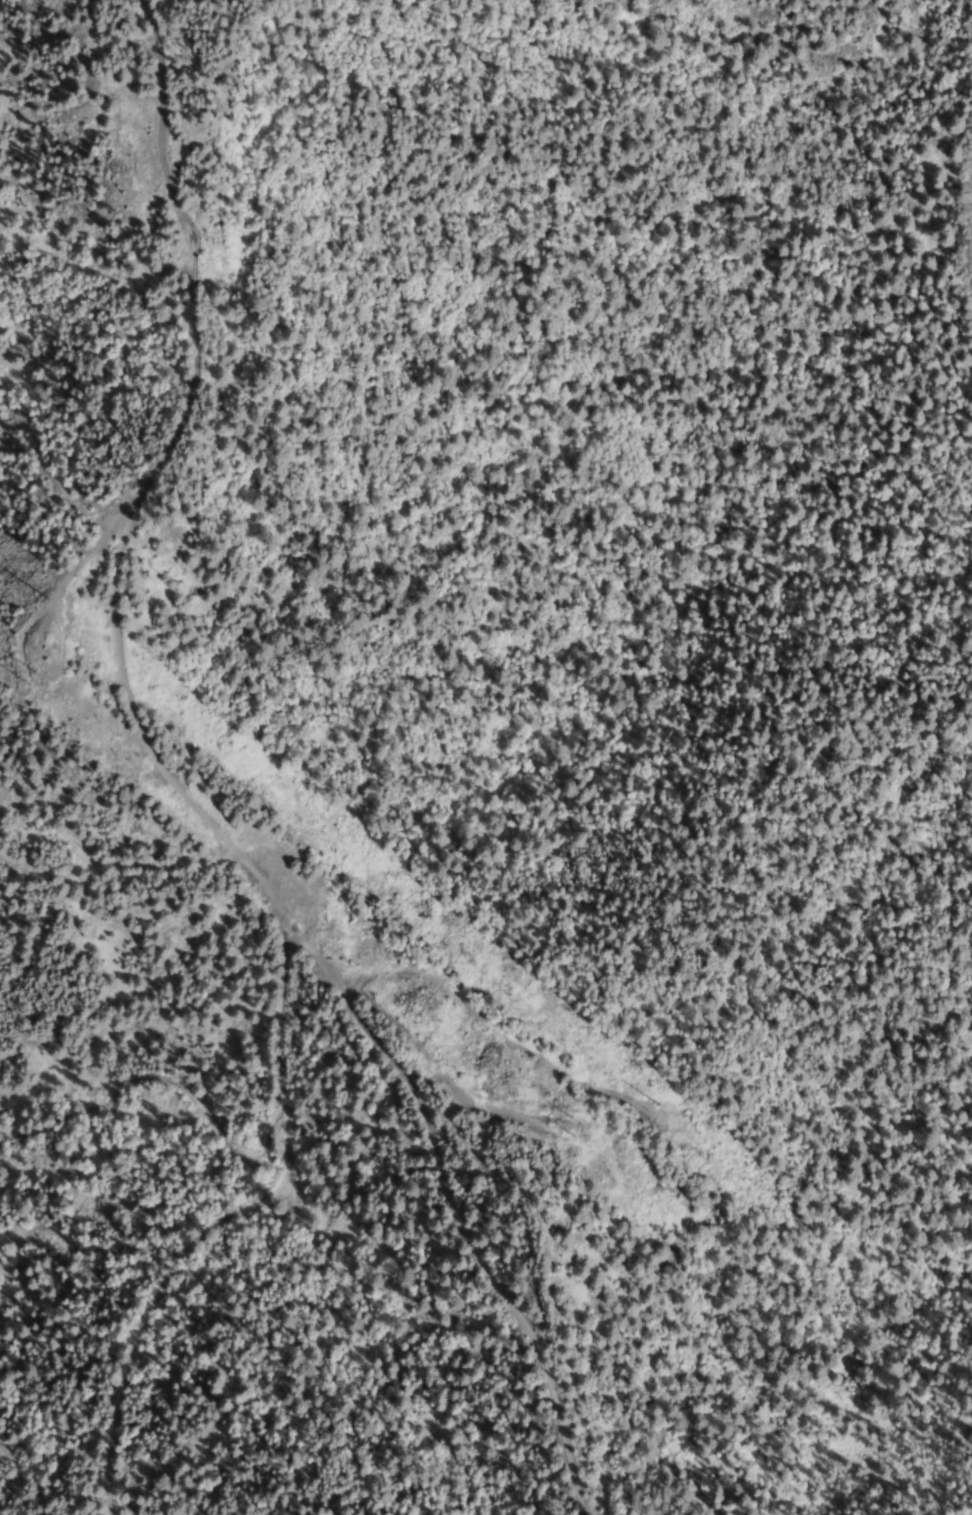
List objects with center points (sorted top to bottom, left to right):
power tower: (27, 677)
power tower: (576, 1123)

